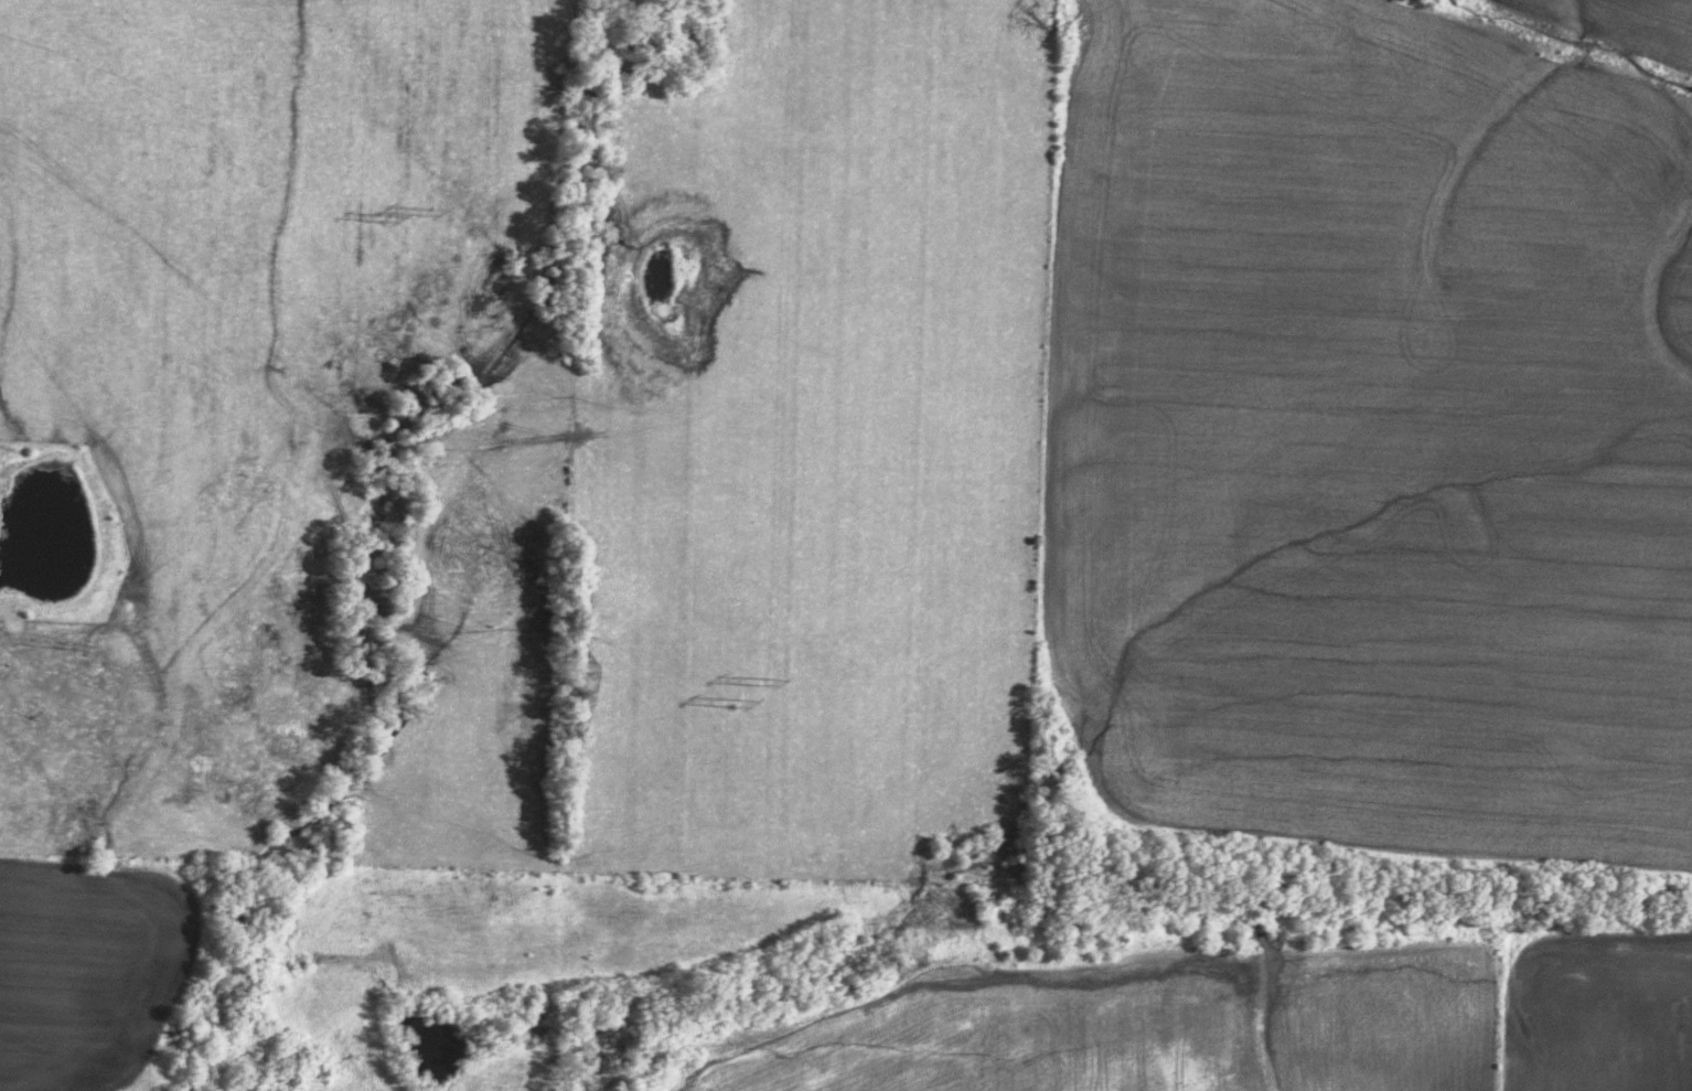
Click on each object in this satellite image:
power tower: (421, 207)
power tower: (377, 220)
power tower: (760, 678)
power tower: (724, 702)

